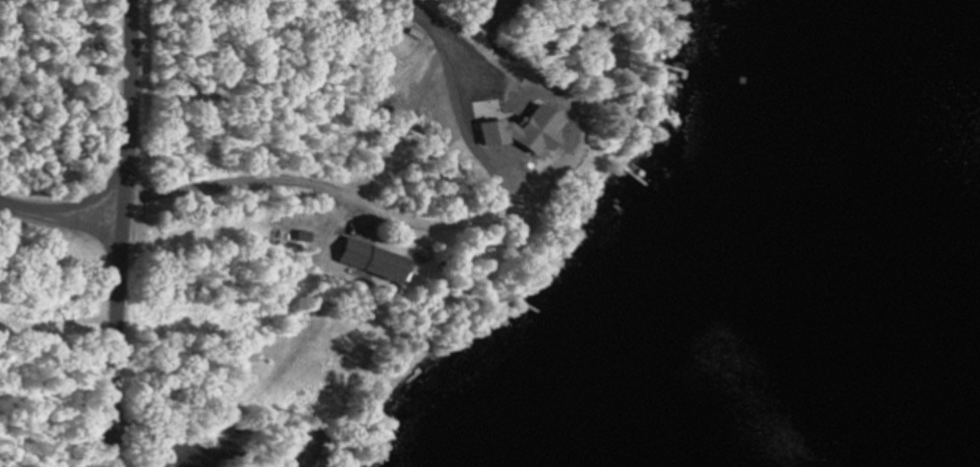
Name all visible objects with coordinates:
building: (550, 0)
building: (534, 22)
building: (586, 23)
building: (585, 33)
road: (117, 108)
building: (547, 152)
road: (267, 175)
road: (54, 215)
building: (292, 236)
building: (356, 260)
road: (112, 342)
building: (237, 350)
building: (325, 364)
building: (303, 448)

